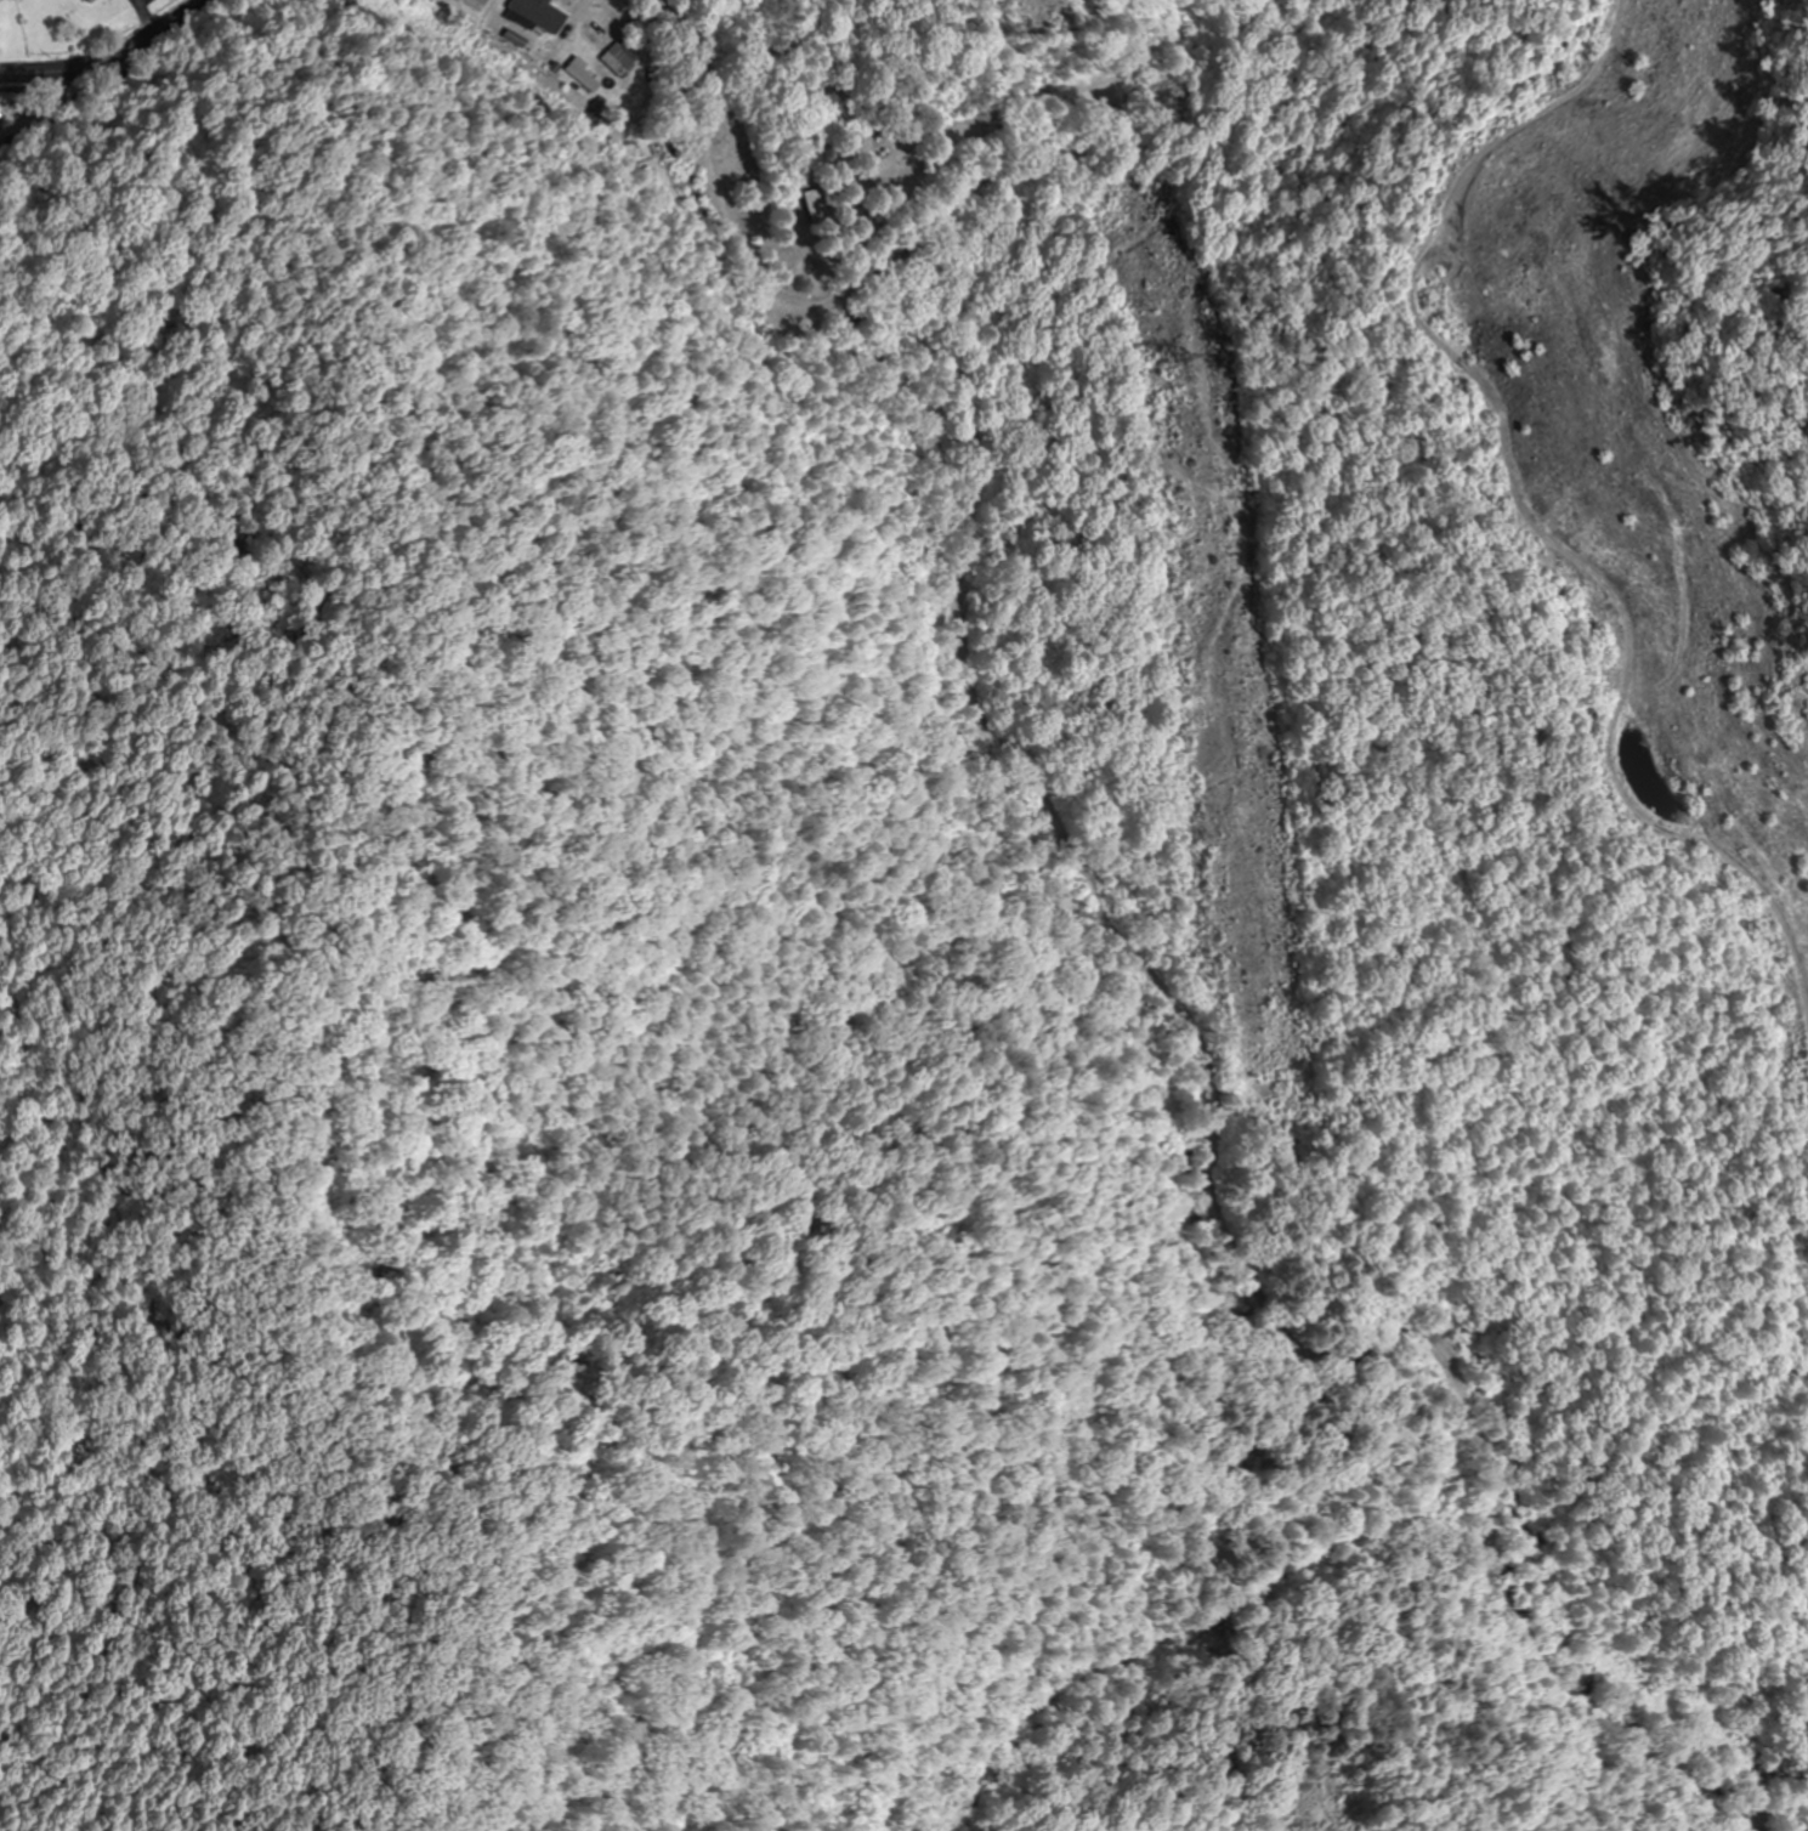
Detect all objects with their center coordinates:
building: (89, 1)
building: (516, 28)
road: (96, 45)
building: (619, 58)
road: (1002, 163)
power tower: (1163, 361)
road: (1095, 821)

